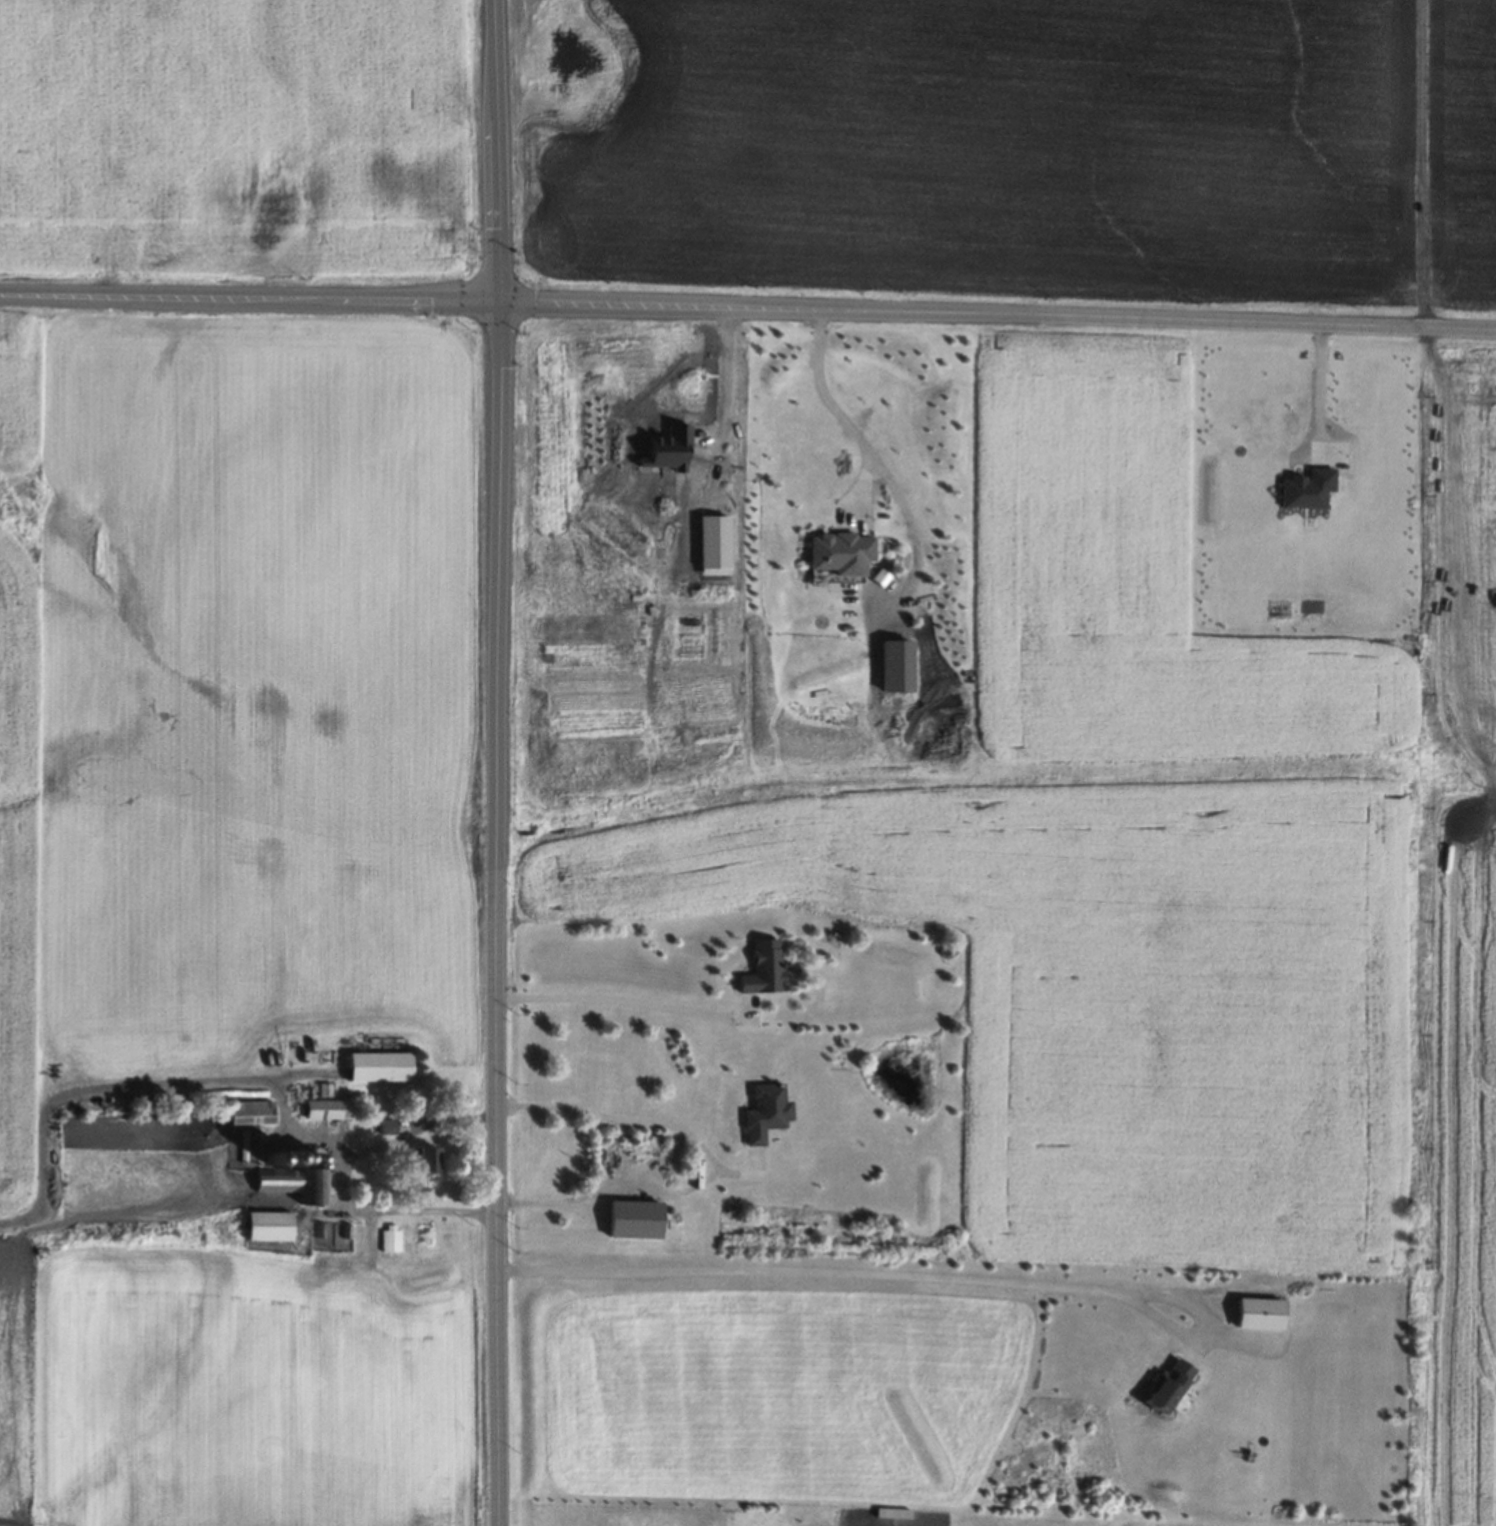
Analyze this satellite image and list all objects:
crop: (231, 134)
crop: (972, 141)
crop: (1456, 144)
road: (247, 295)
road: (995, 311)
road: (729, 375)
road: (1317, 383)
road: (832, 412)
building: (668, 448)
building: (1307, 488)
road: (910, 514)
building: (713, 544)
building: (837, 552)
crop: (1469, 562)
building: (881, 576)
crop: (1134, 585)
building: (896, 665)
crop: (251, 693)
road: (495, 762)
crop: (23, 780)
building: (940, 948)
building: (759, 972)
crop: (1124, 997)
road: (613, 1001)
building: (375, 1065)
building: (323, 1107)
building: (246, 1110)
building: (762, 1112)
building: (384, 1124)
building: (240, 1144)
building: (421, 1153)
building: (285, 1156)
building: (300, 1156)
building: (314, 1157)
building: (269, 1158)
road: (712, 1161)
crop: (1469, 1167)
road: (336, 1177)
building: (292, 1182)
building: (631, 1217)
building: (265, 1223)
building: (389, 1236)
road: (913, 1275)
building: (1251, 1311)
building: (1166, 1387)

